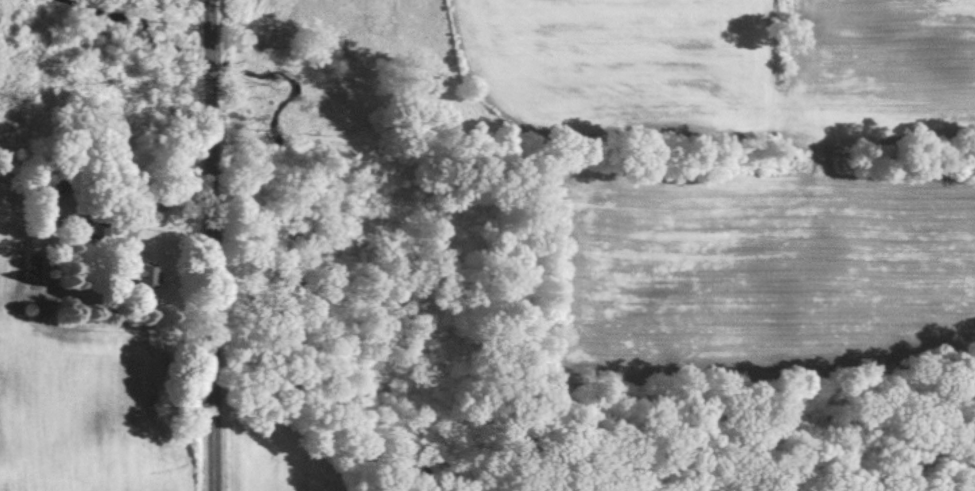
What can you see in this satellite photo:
road: (170, 197)
road: (216, 245)
building: (144, 276)

